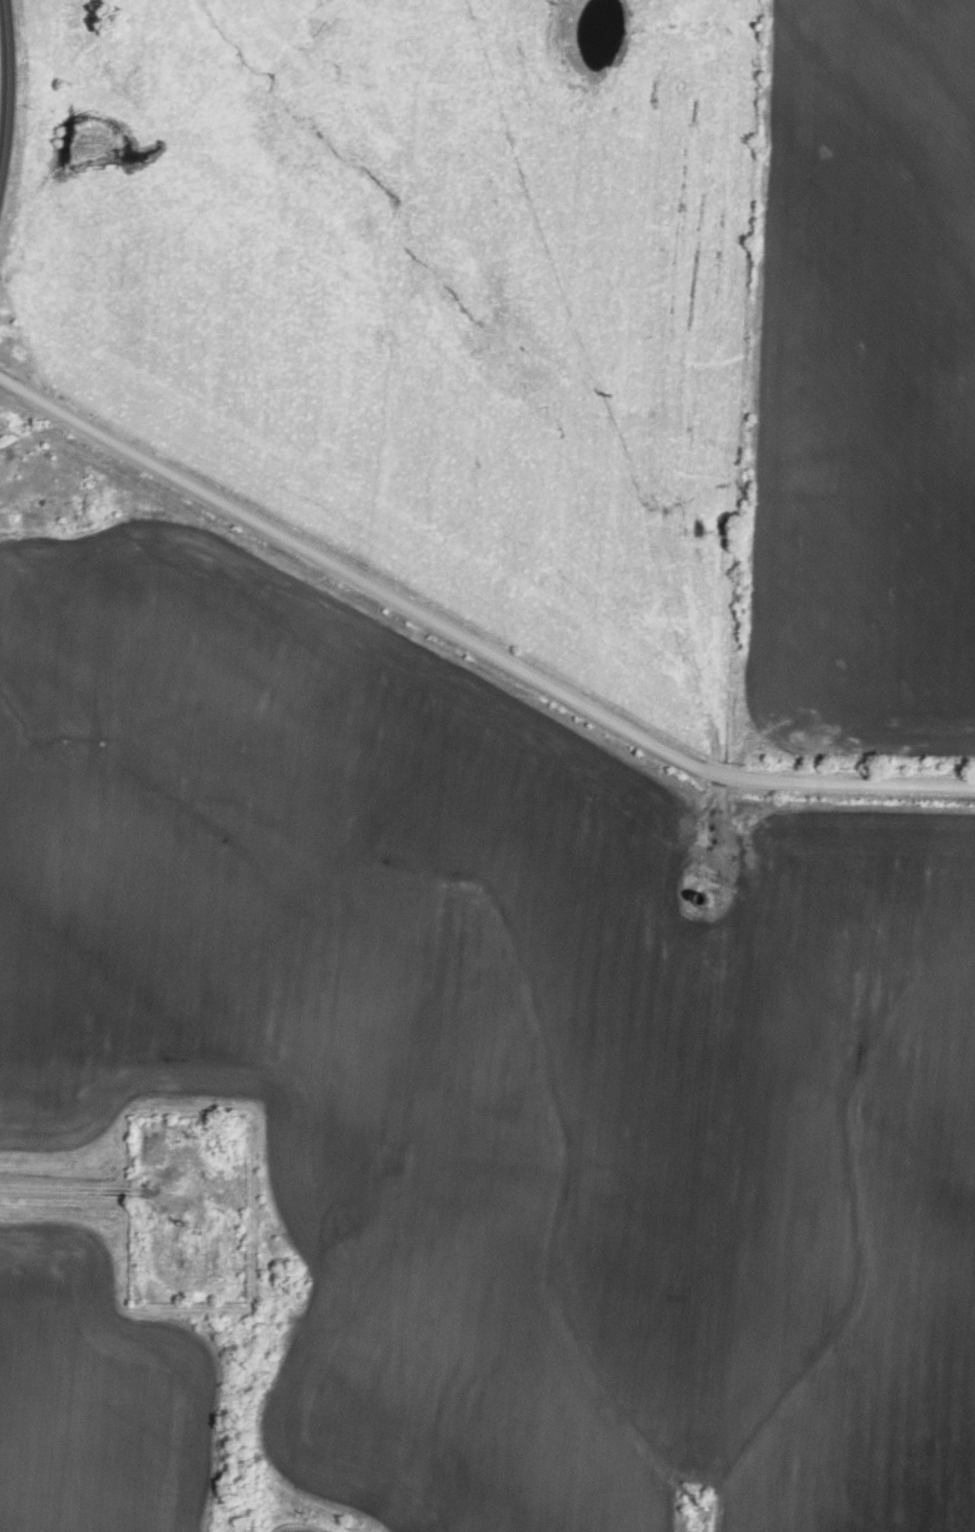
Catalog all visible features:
road: (9, 89)
road: (470, 642)

